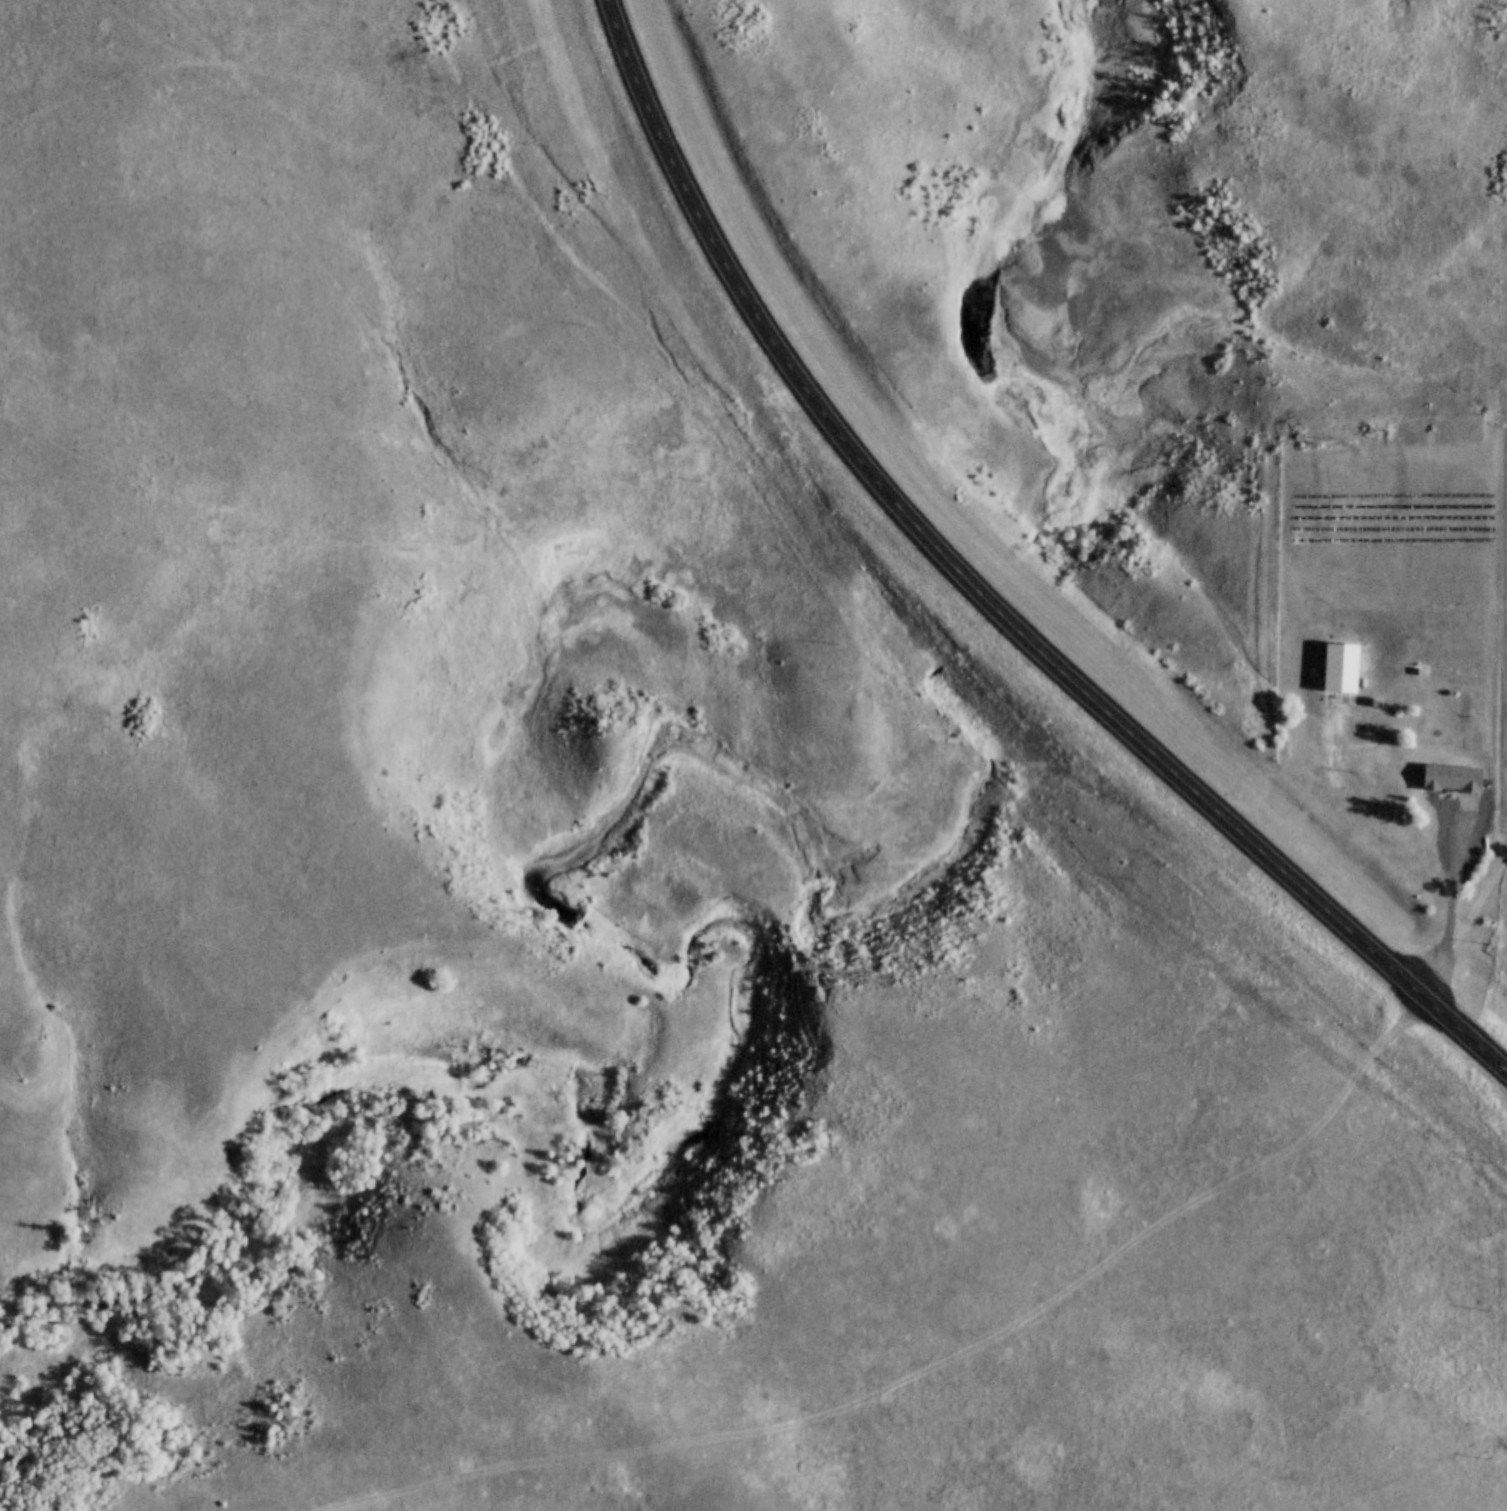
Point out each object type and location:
road: (987, 590)
building: (1454, 780)
road: (1456, 904)

